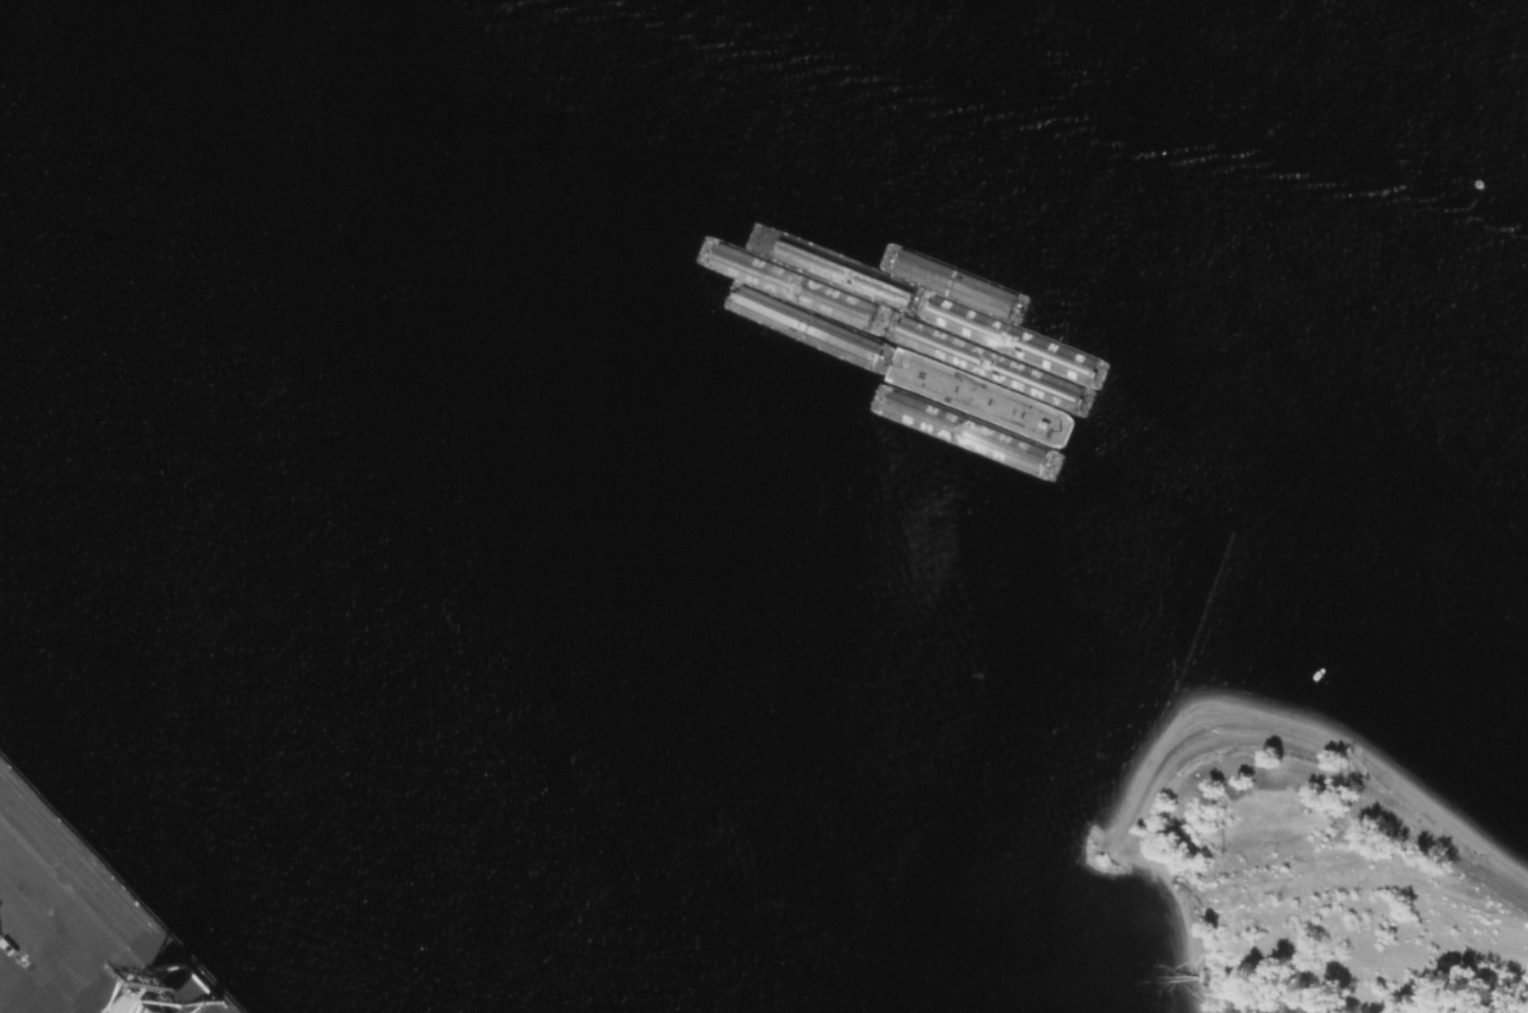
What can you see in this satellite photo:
river: (1165, 151)
river: (857, 526)
railway: (116, 890)
railway: (92, 915)
road: (1326, 977)

